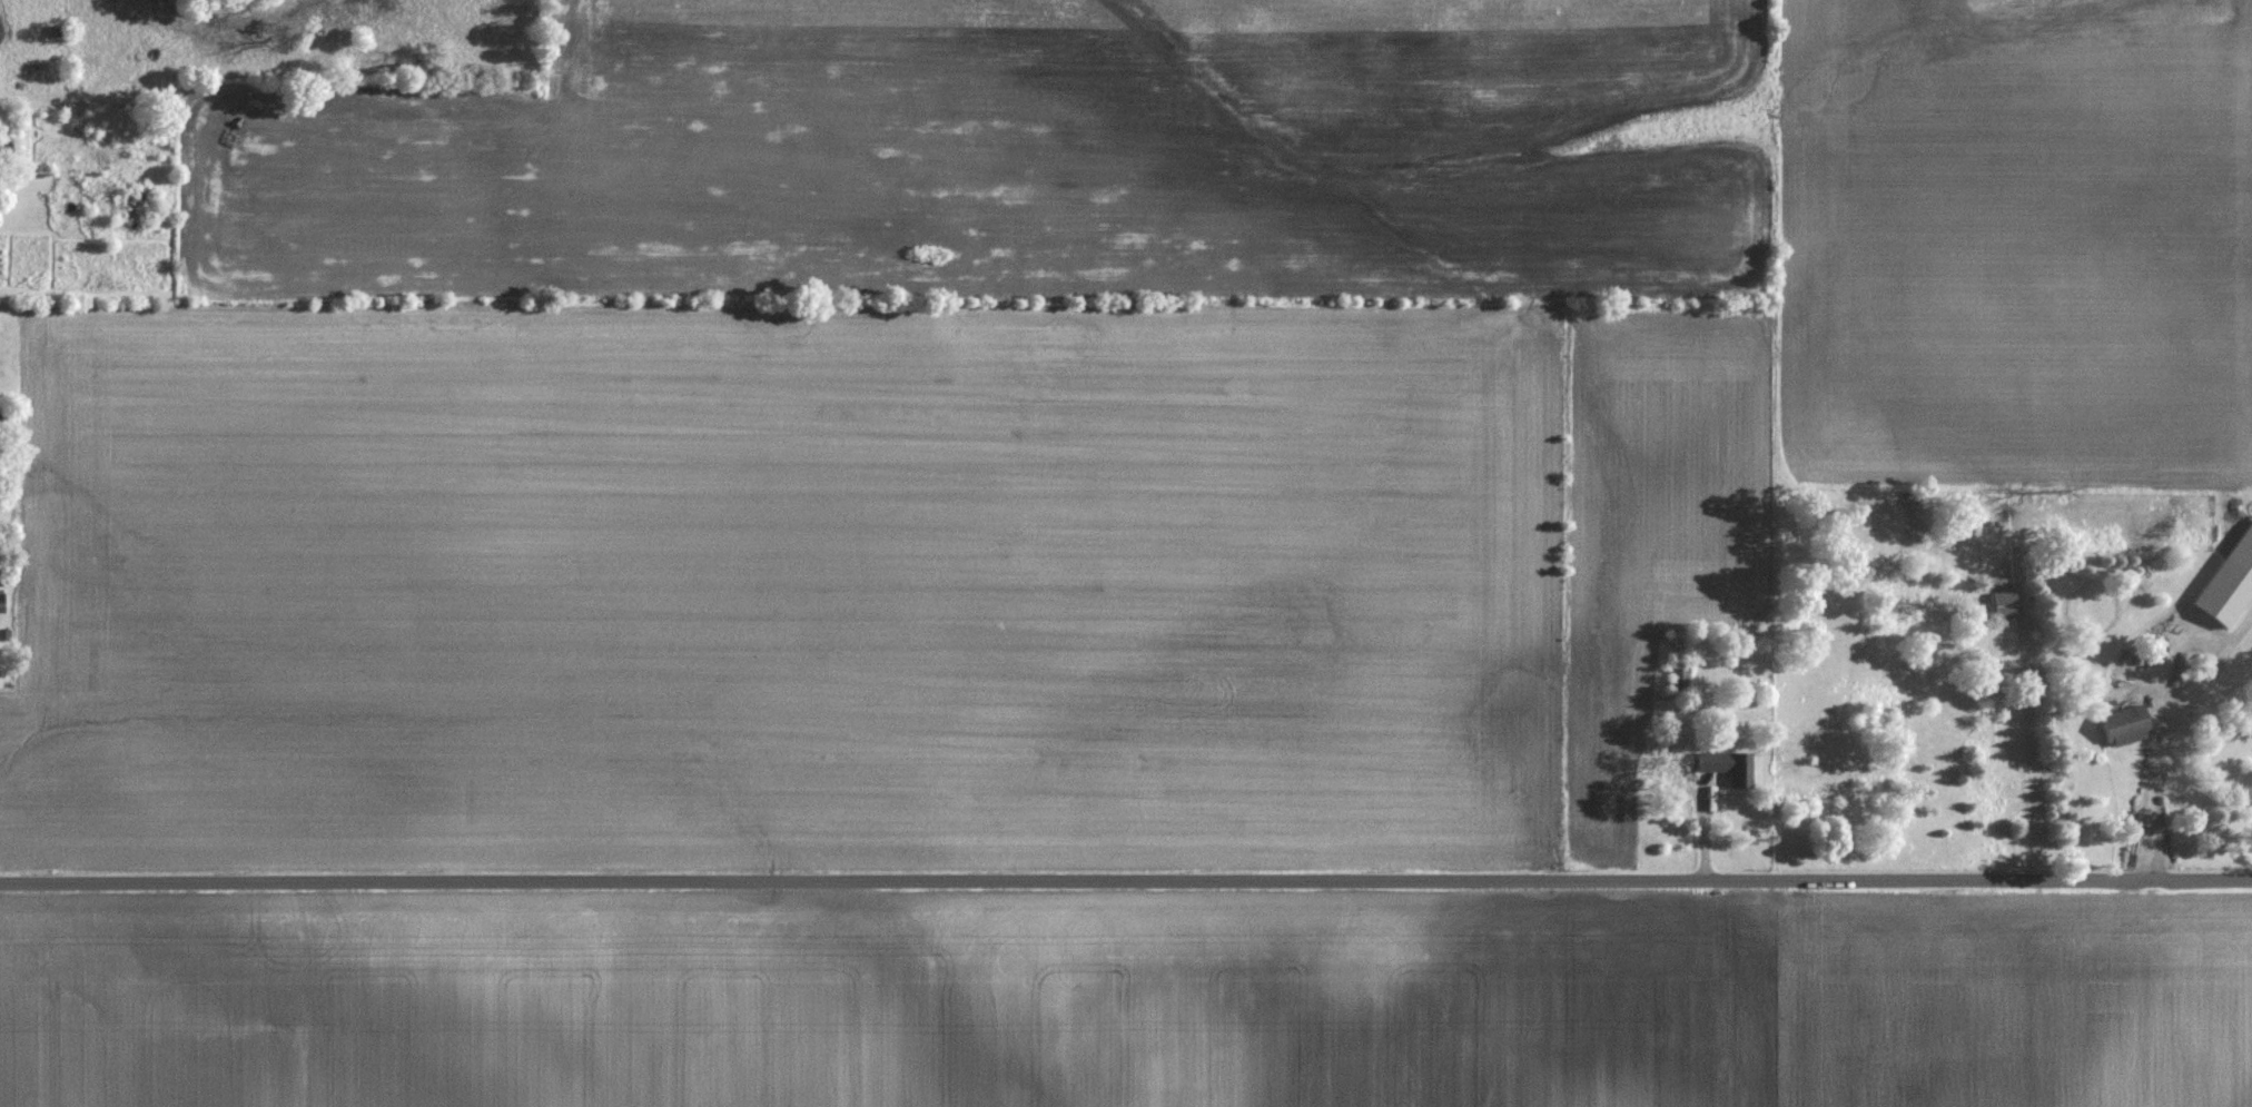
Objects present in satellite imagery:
building: (0, 36)
building: (6, 150)
building: (134, 208)
building: (2220, 593)
building: (1, 610)
building: (1680, 681)
building: (2120, 724)
road: (2172, 740)
building: (1730, 765)
road: (1125, 879)
crop: (1127, 1000)

